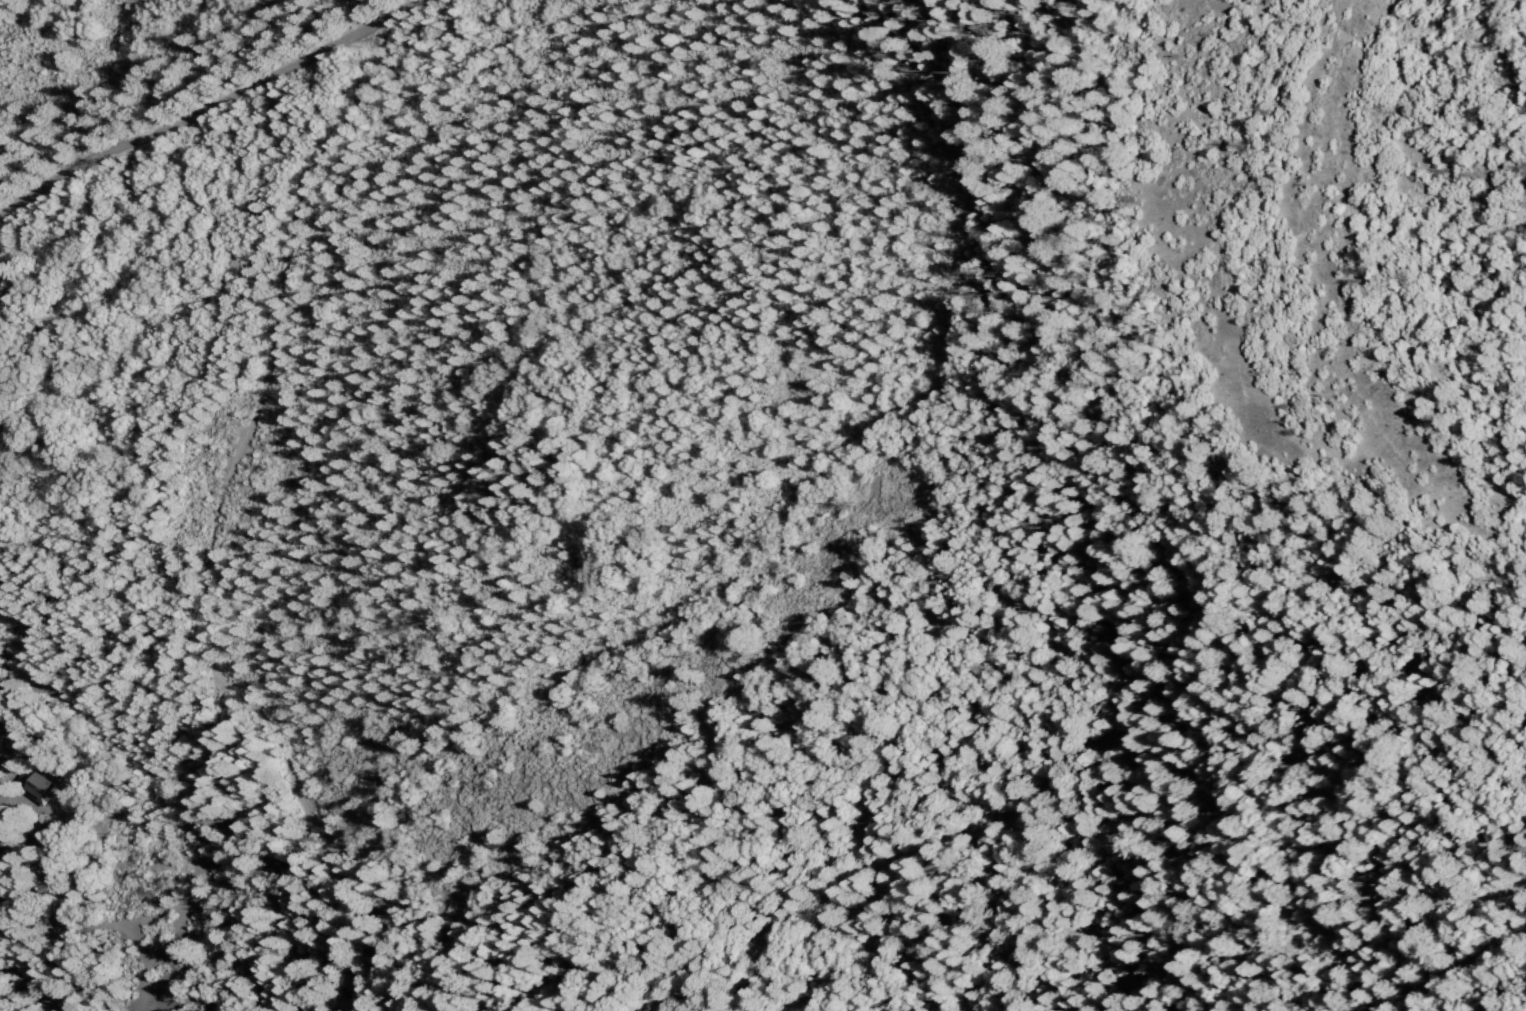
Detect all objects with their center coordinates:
road: (389, 15)
road: (182, 115)
road: (274, 356)
road: (1078, 753)
road: (330, 836)
road: (200, 853)
road: (62, 911)
road: (1437, 974)

